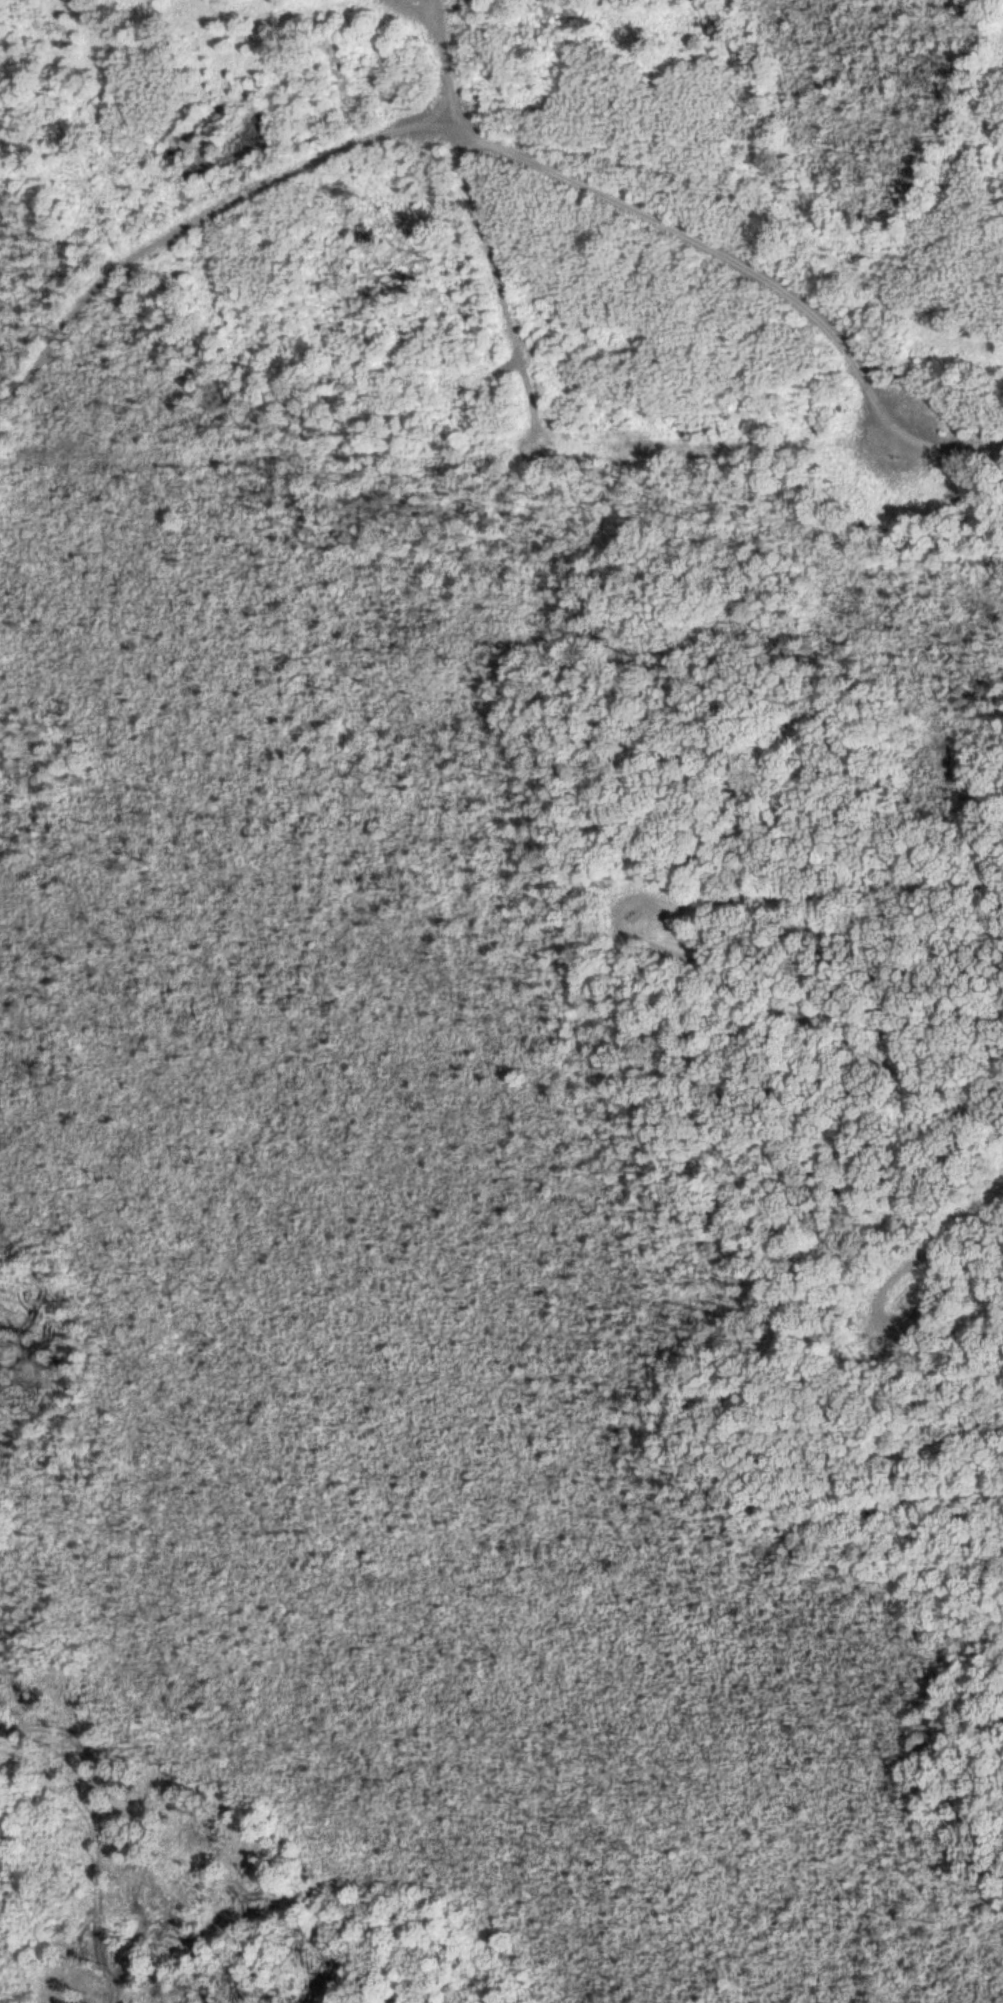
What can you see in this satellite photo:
road: (437, 13)
road: (418, 14)
road: (196, 217)
road: (705, 246)
road: (620, 906)
road: (848, 1040)
road: (970, 1220)
road: (888, 1323)

